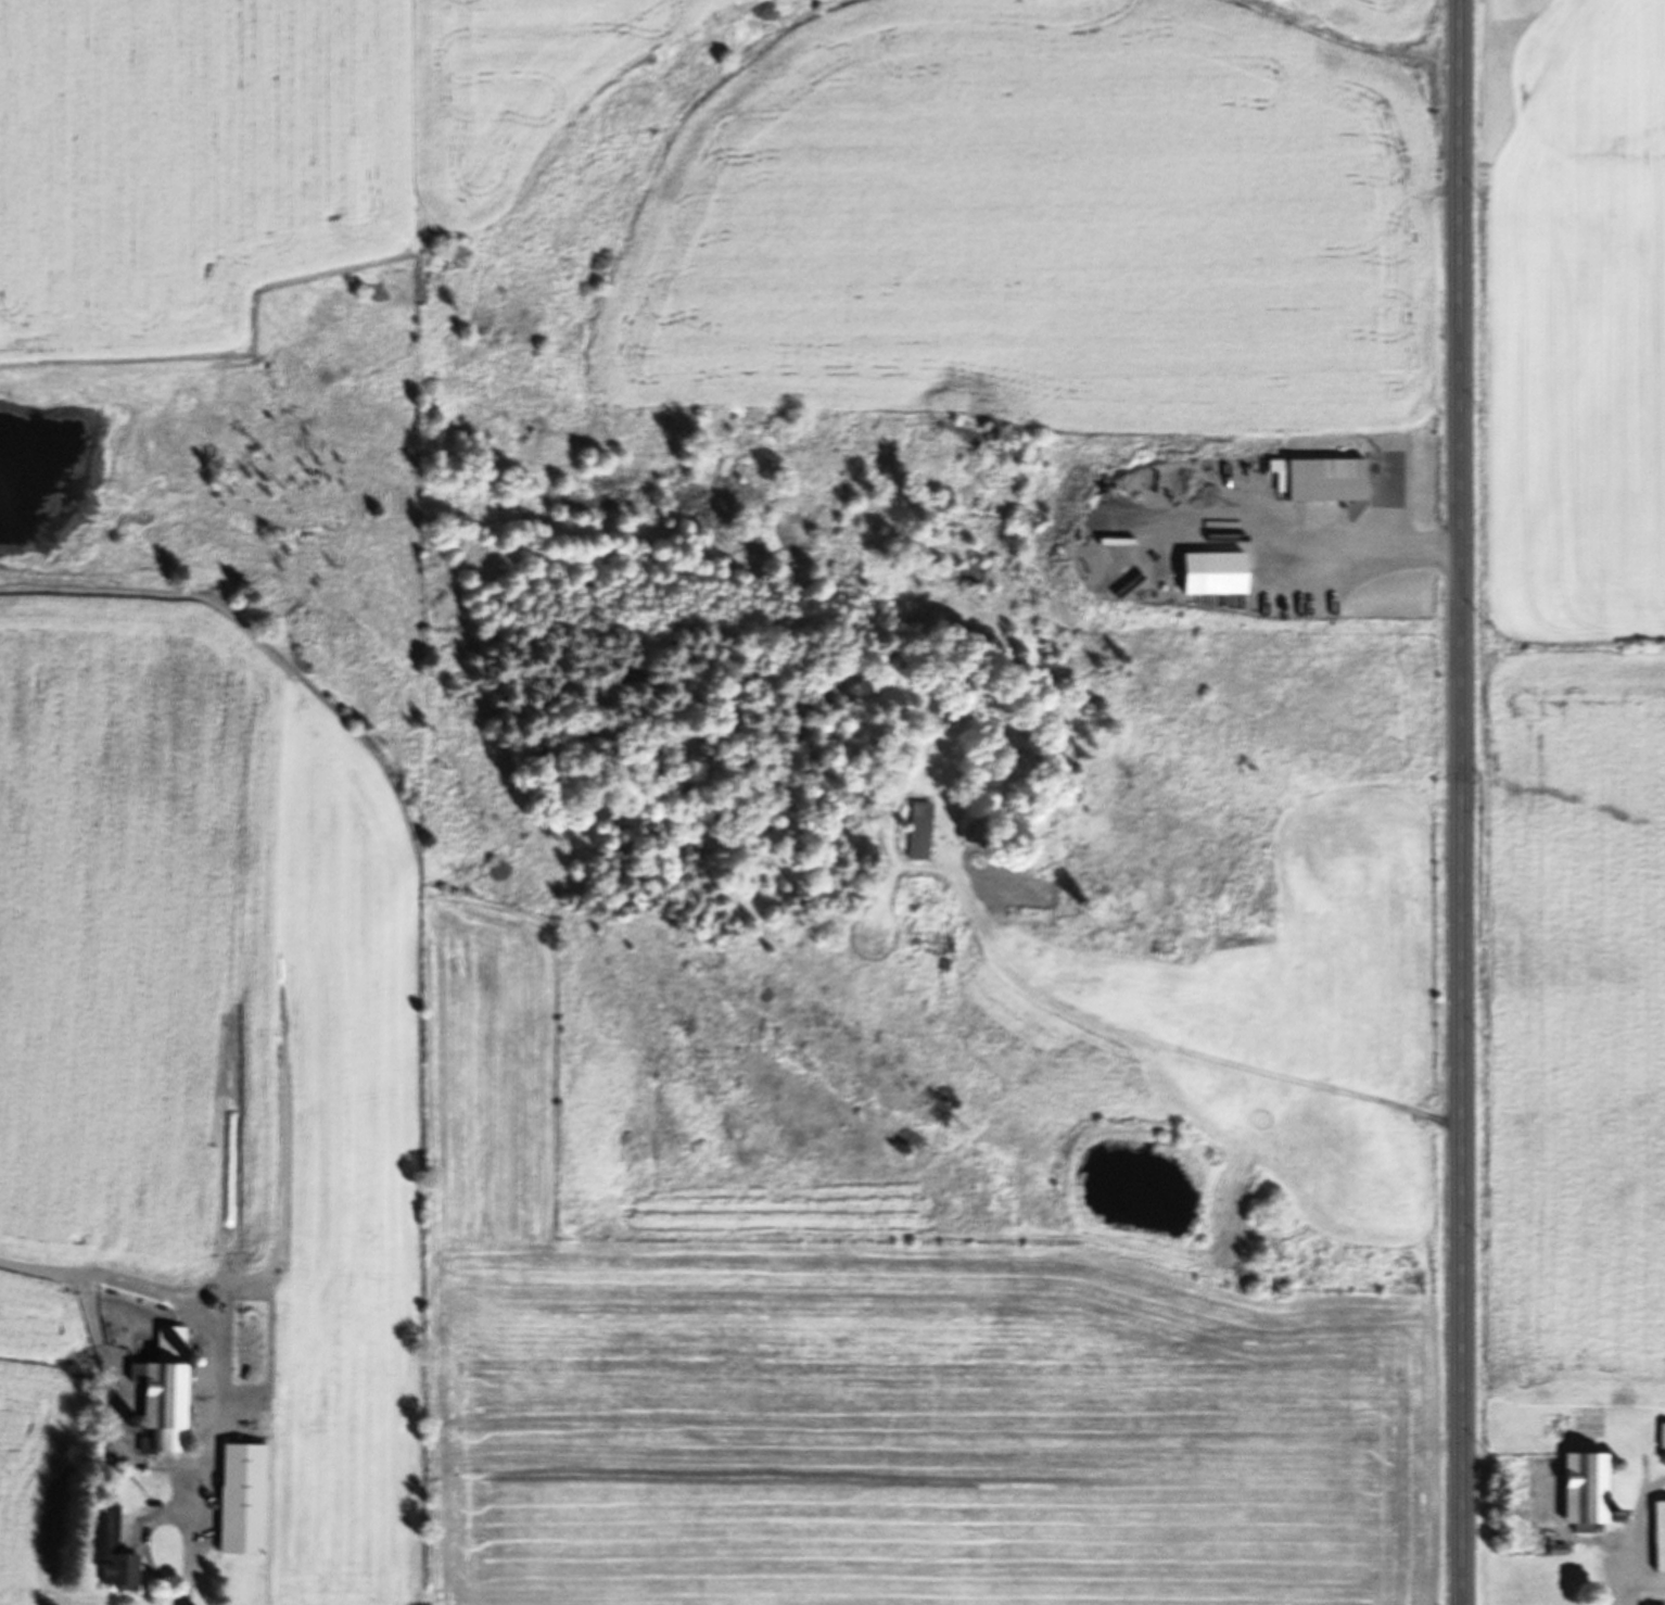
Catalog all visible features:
building: (1322, 480)
road: (1459, 802)
building: (917, 830)
building: (245, 1341)
building: (161, 1391)
building: (1661, 1435)
building: (1581, 1486)
building: (239, 1497)
building: (1657, 1536)
building: (109, 1550)

